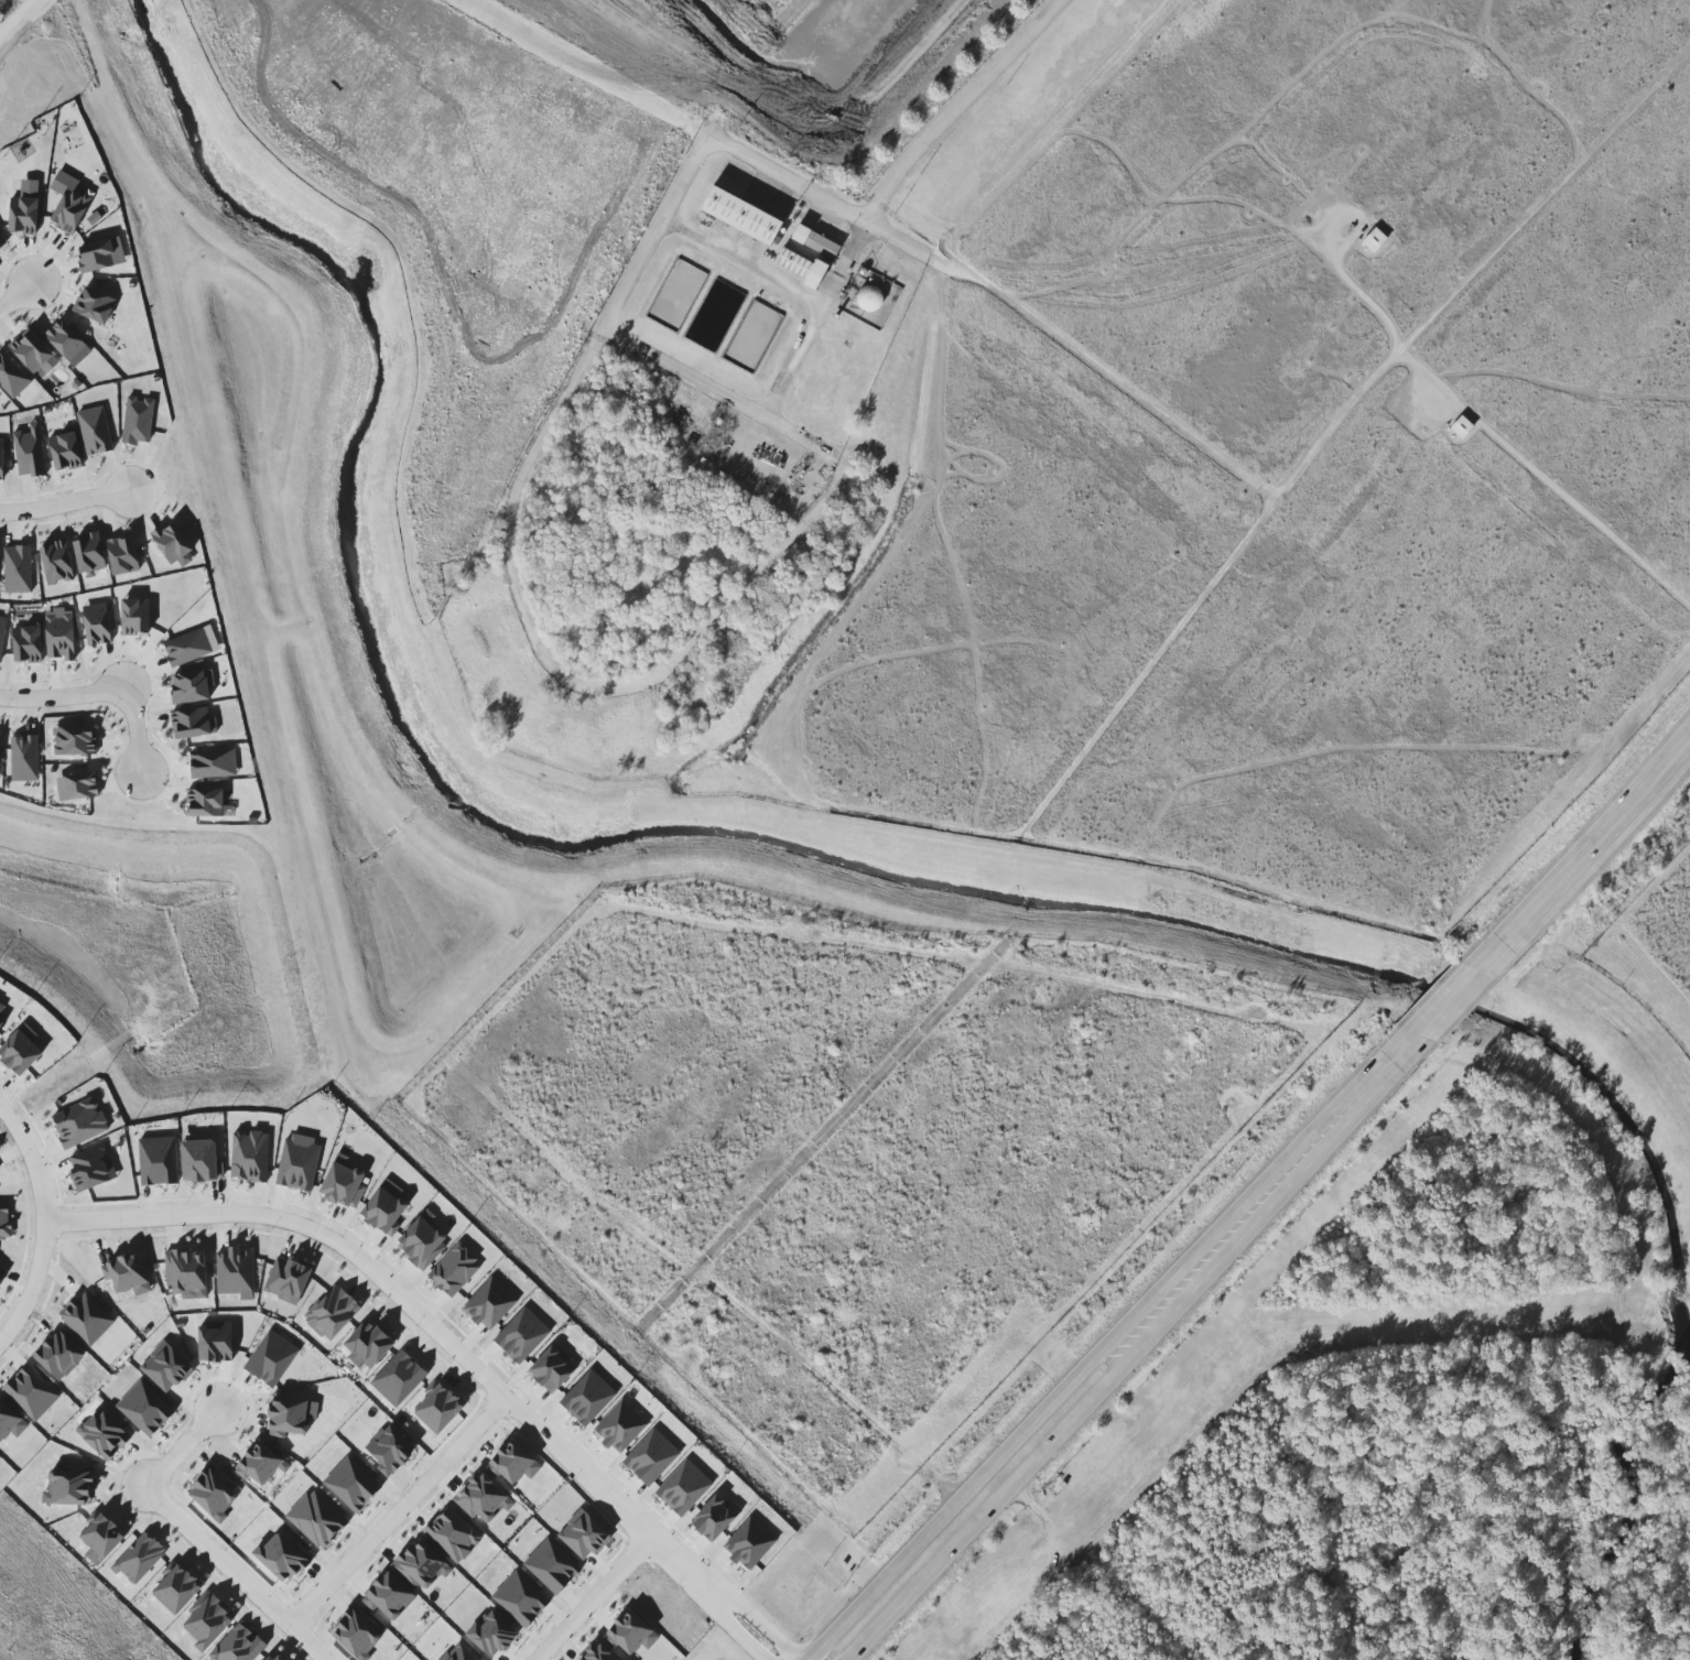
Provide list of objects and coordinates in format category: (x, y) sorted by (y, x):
road: (20, 18)
road: (587, 73)
road: (958, 107)
building: (23, 209)
building: (69, 210)
building: (740, 216)
road: (658, 235)
building: (1374, 240)
building: (1, 242)
building: (814, 242)
building: (100, 254)
road: (745, 263)
building: (801, 268)
road: (1361, 293)
road: (18, 296)
building: (869, 299)
road: (1007, 300)
building: (93, 306)
road: (815, 319)
building: (67, 343)
building: (32, 352)
building: (12, 376)
road: (728, 399)
building: (138, 421)
road: (1337, 421)
building: (94, 431)
building: (29, 452)
building: (64, 452)
building: (1, 458)
road: (64, 507)
road: (506, 541)
building: (173, 545)
building: (88, 554)
building: (122, 556)
building: (56, 562)
building: (17, 569)
road: (751, 579)
building: (134, 617)
building: (96, 625)
building: (1, 630)
building: (59, 634)
building: (25, 644)
building: (191, 647)
building: (188, 687)
road: (63, 698)
building: (192, 724)
road: (134, 731)
building: (72, 741)
building: (23, 759)
building: (213, 763)
building: (76, 788)
building: (204, 803)
building: (2, 1012)
building: (19, 1053)
building: (79, 1122)
building: (249, 1157)
building: (158, 1161)
building: (199, 1161)
building: (297, 1163)
road: (32, 1165)
building: (90, 1168)
building: (343, 1183)
road: (1248, 1192)
road: (1270, 1204)
building: (383, 1212)
building: (4, 1222)
building: (422, 1240)
building: (456, 1268)
building: (186, 1273)
building: (236, 1273)
building: (127, 1274)
building: (286, 1280)
building: (489, 1304)
road: (404, 1308)
building: (332, 1313)
building: (86, 1319)
building: (521, 1335)
building: (214, 1343)
building: (366, 1347)
building: (57, 1356)
building: (270, 1359)
building: (165, 1367)
building: (551, 1369)
building: (398, 1379)
building: (30, 1392)
building: (587, 1398)
building: (437, 1408)
building: (144, 1409)
building: (290, 1417)
building: (10, 1422)
building: (619, 1426)
building: (102, 1435)
building: (389, 1451)
building: (650, 1457)
building: (512, 1463)
building: (258, 1464)
building: (350, 1485)
building: (67, 1488)
building: (683, 1488)
building: (212, 1495)
building: (481, 1498)
road: (393, 1518)
building: (714, 1518)
building: (316, 1519)
building: (452, 1534)
building: (582, 1534)
road: (188, 1537)
building: (100, 1538)
building: (748, 1543)
building: (138, 1559)
building: (421, 1566)
building: (551, 1566)
building: (175, 1590)
building: (388, 1596)
building: (519, 1599)
road: (594, 1601)
building: (206, 1621)
building: (491, 1634)
building: (630, 1634)
building: (355, 1635)
building: (237, 1647)
building: (458, 1653)
building: (595, 1653)
building: (272, 1657)

